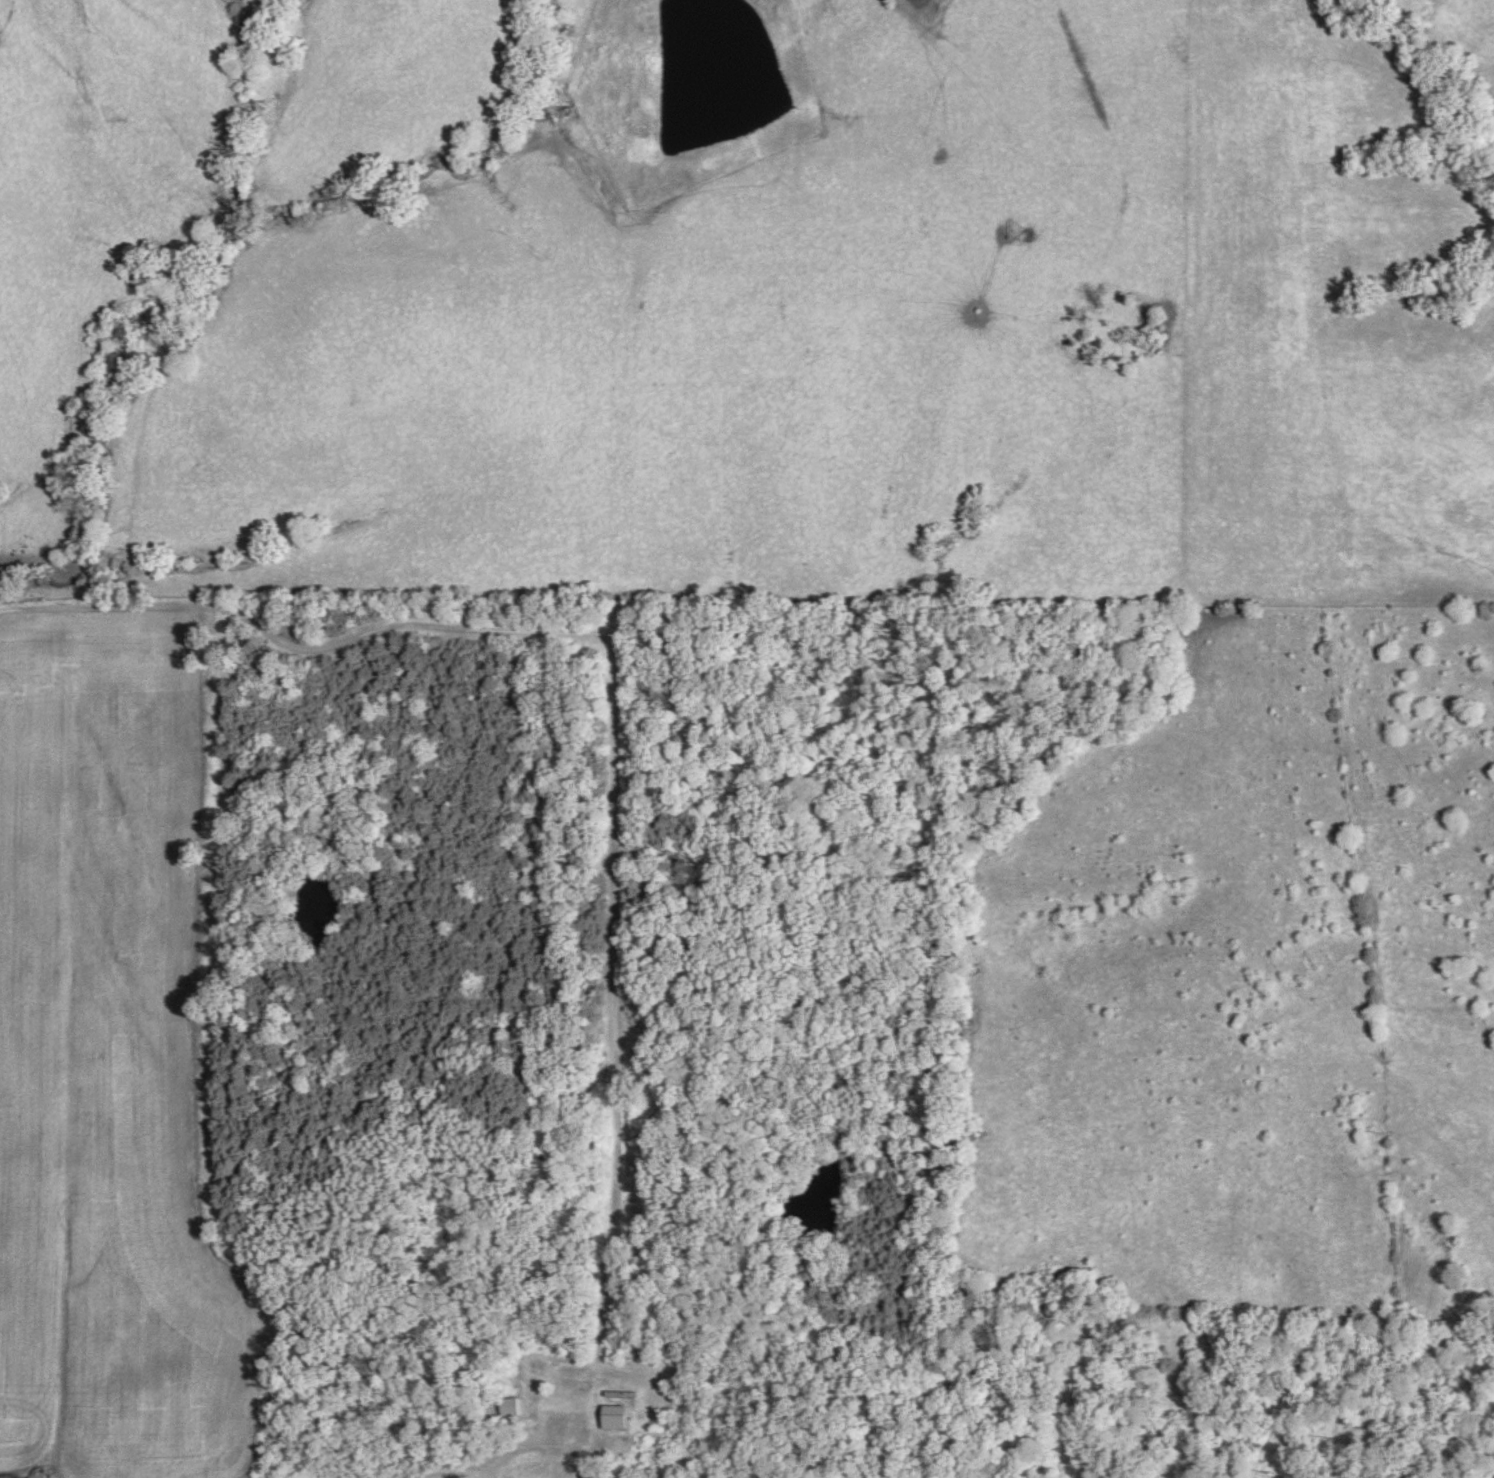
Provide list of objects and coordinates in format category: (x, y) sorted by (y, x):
road: (1115, 145)
road: (618, 705)
building: (617, 1410)

